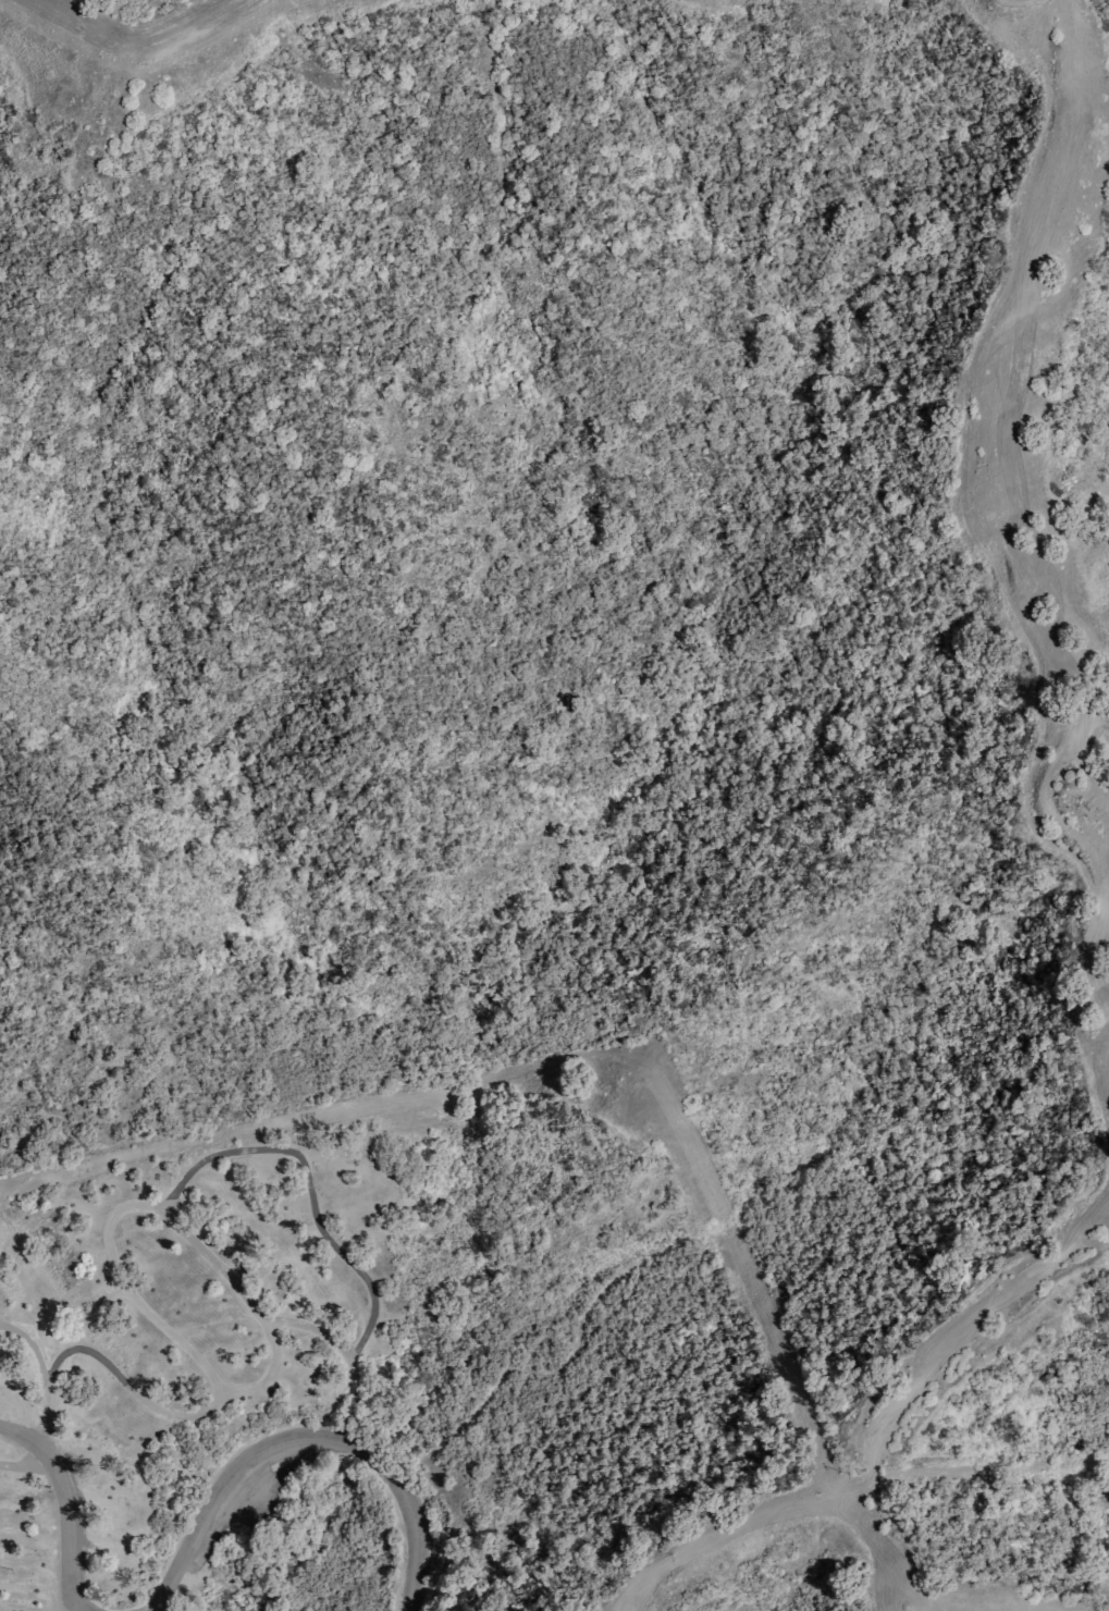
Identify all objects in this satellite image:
road: (133, 30)
road: (1014, 513)
park: (554, 805)
road: (669, 1118)
road: (317, 1226)
road: (308, 1329)
road: (32, 1348)
road: (108, 1366)
road: (231, 1392)
road: (305, 1430)
road: (872, 1439)
road: (25, 1464)
road: (65, 1503)
road: (65, 1590)

